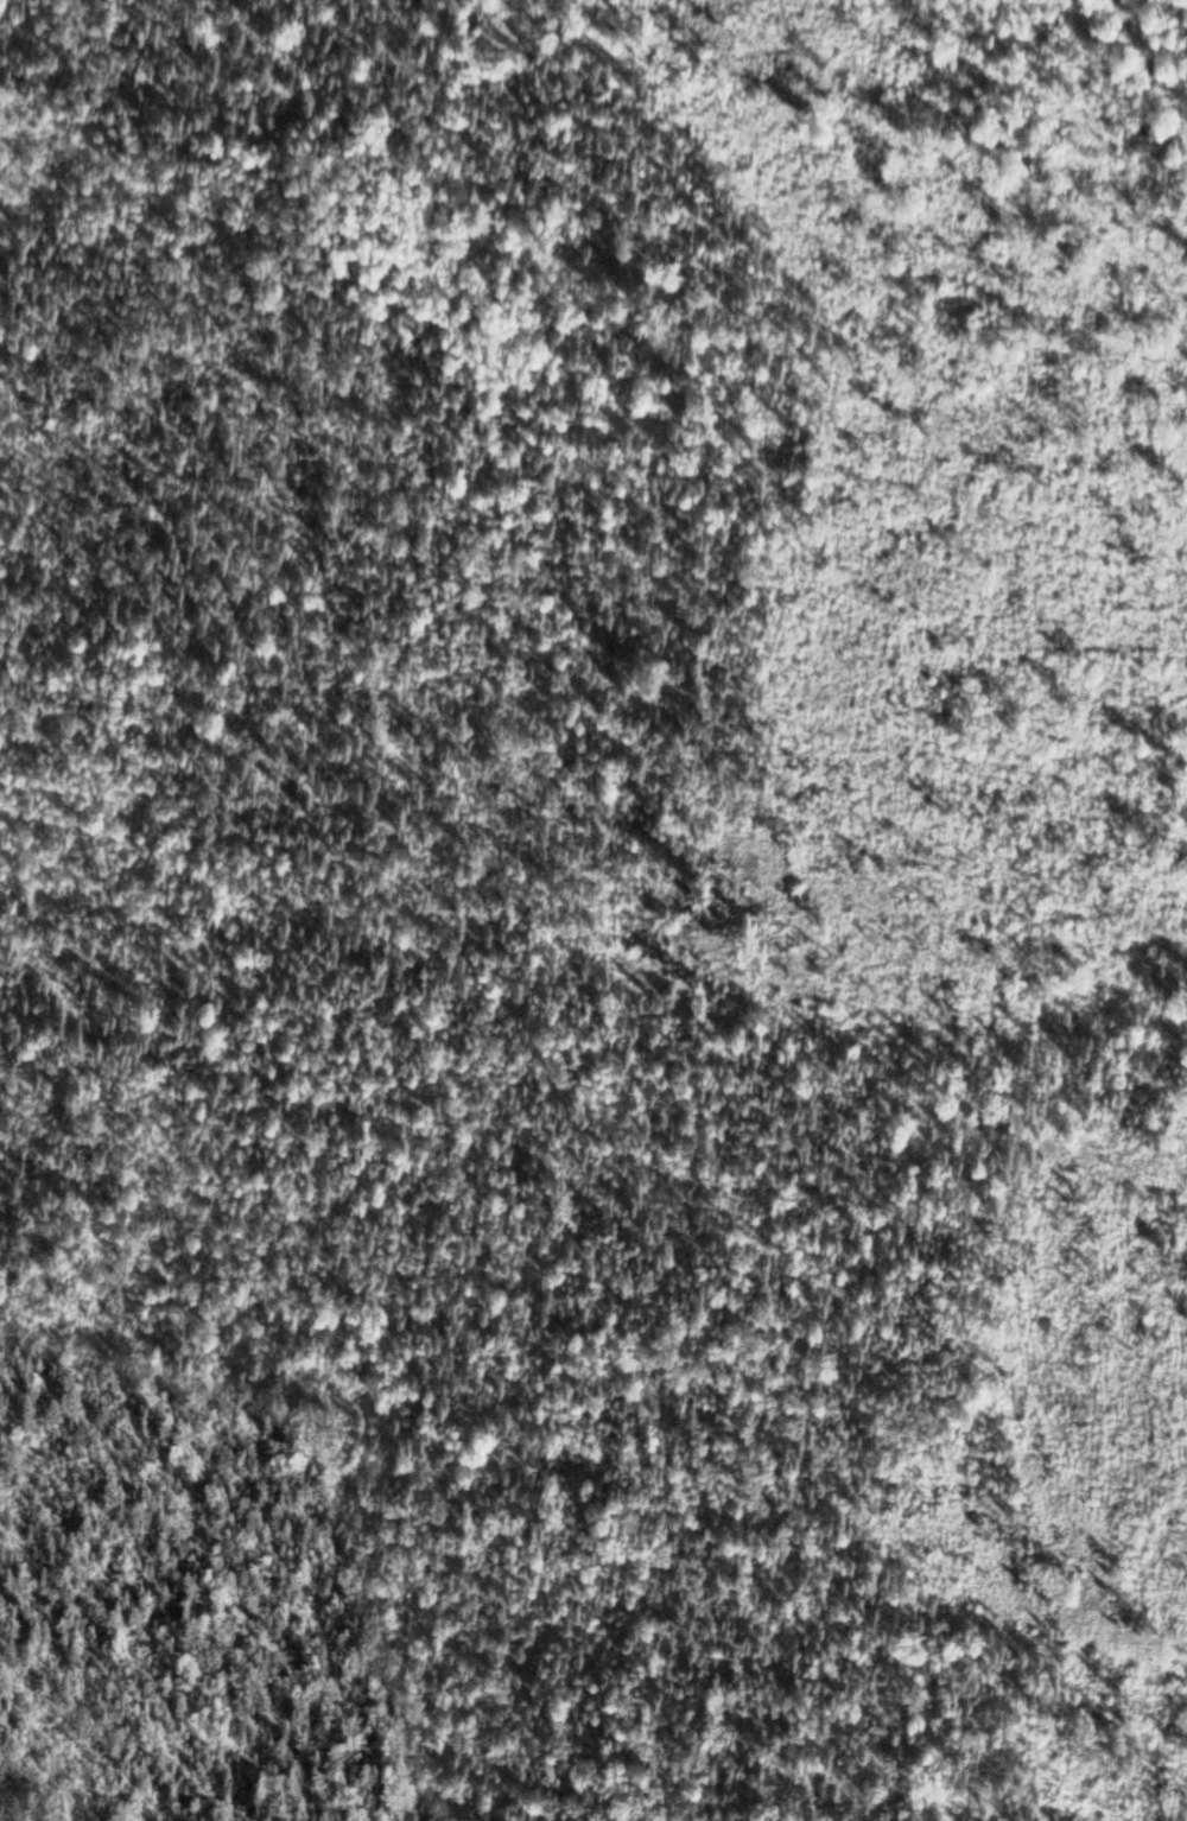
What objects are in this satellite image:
road: (1153, 57)

